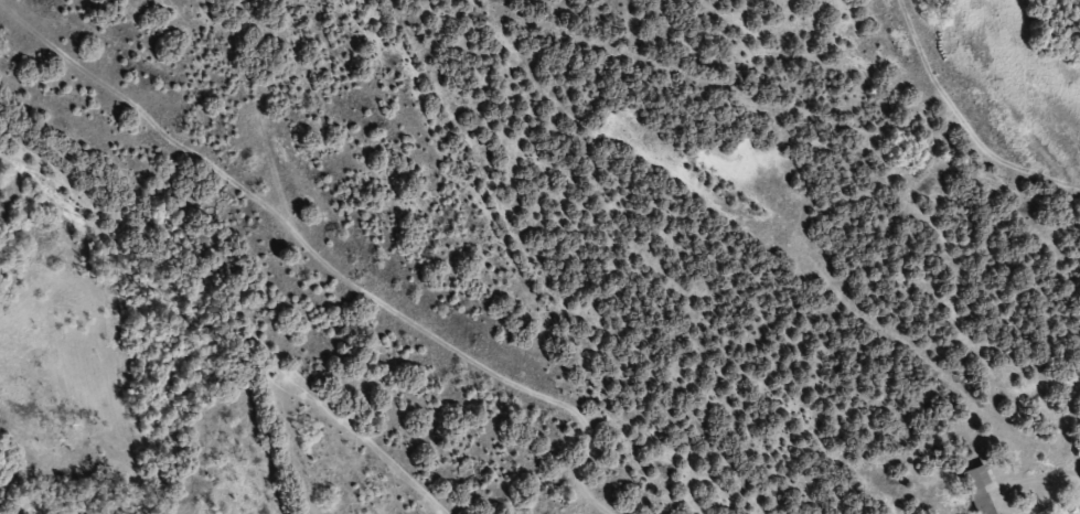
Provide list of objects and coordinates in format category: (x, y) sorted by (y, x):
road: (1008, 69)
building: (979, 492)

